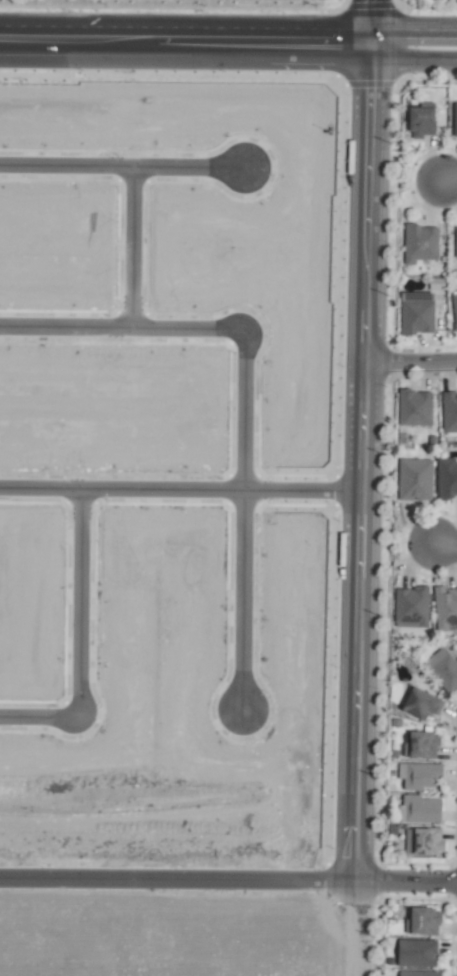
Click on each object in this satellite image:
road: (371, 15)
road: (186, 27)
road: (414, 31)
road: (377, 44)
road: (190, 54)
road: (419, 60)
building: (455, 120)
building: (423, 121)
road: (120, 167)
road: (449, 177)
building: (421, 243)
building: (456, 244)
road: (129, 248)
building: (455, 308)
building: (418, 313)
road: (65, 328)
road: (244, 352)
road: (418, 362)
building: (416, 408)
building: (450, 412)
road: (376, 469)
building: (447, 478)
building: (416, 480)
road: (187, 490)
road: (446, 549)
road: (240, 599)
road: (74, 604)
building: (445, 606)
building: (412, 607)
building: (443, 670)
building: (423, 704)
road: (36, 719)
building: (422, 746)
building: (420, 775)
building: (423, 810)
building: (425, 842)
road: (184, 880)
road: (413, 880)
building: (424, 922)
crop: (180, 933)
building: (418, 953)
building: (419, 973)

